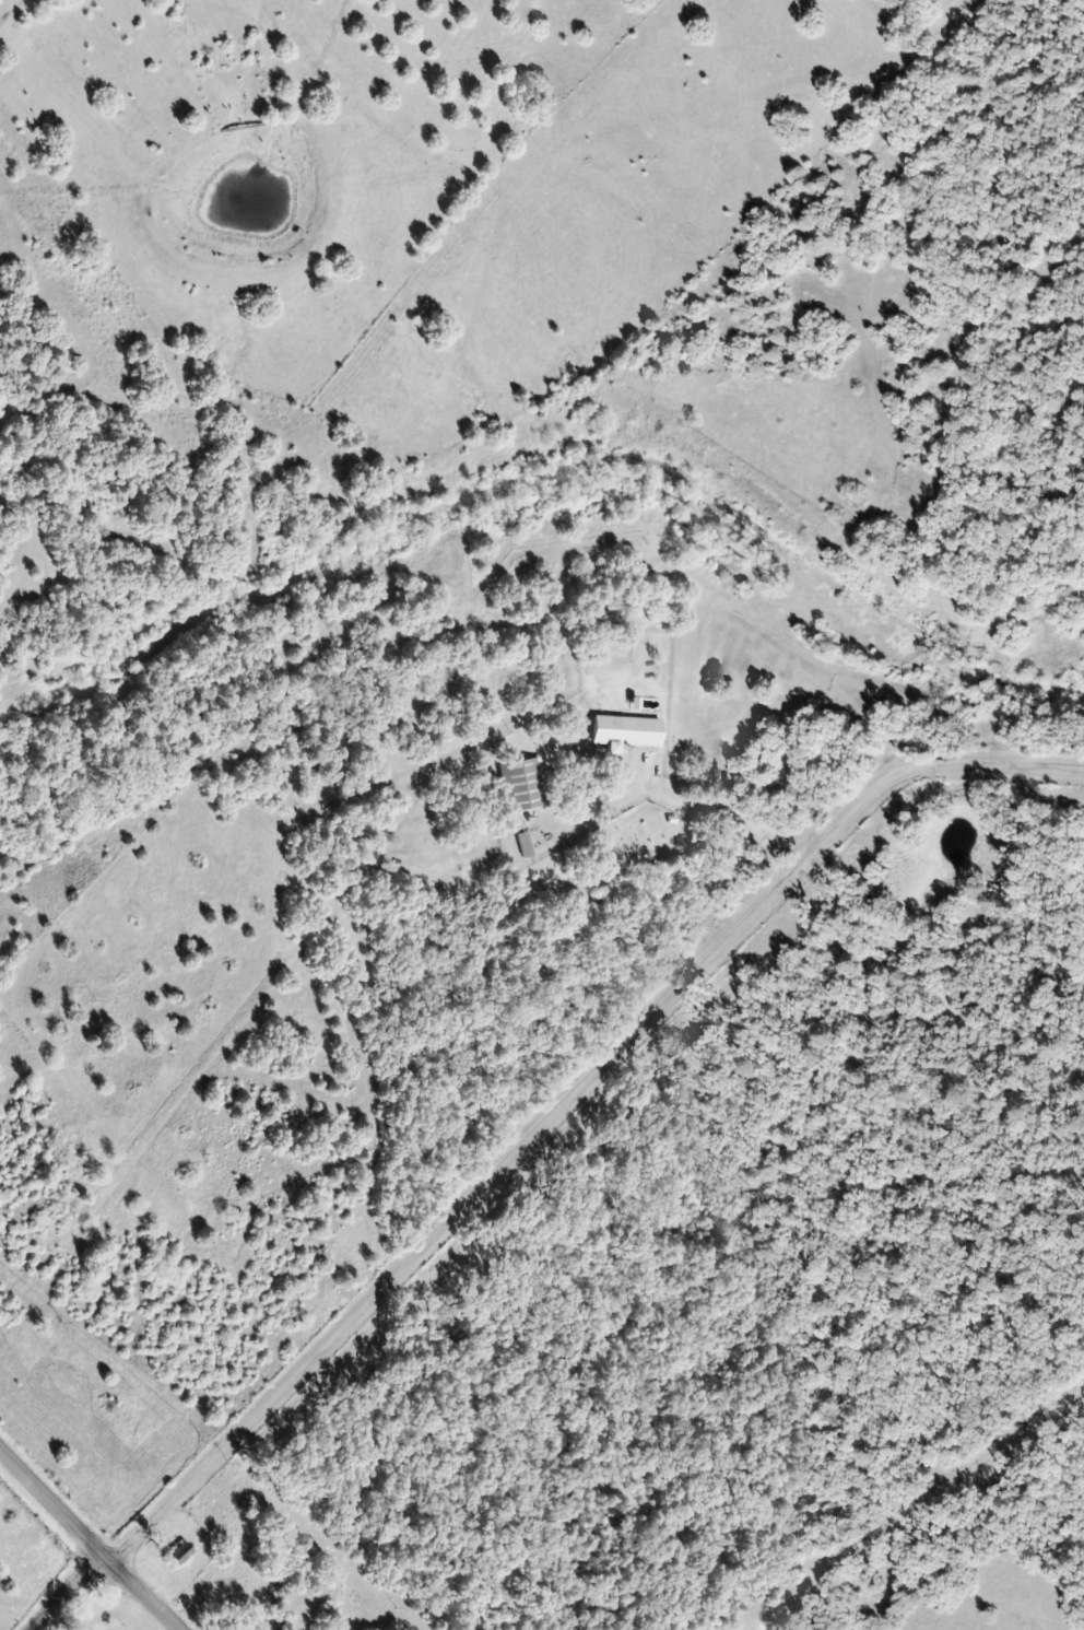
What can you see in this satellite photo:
road: (17, 141)
building: (623, 731)
building: (521, 784)
building: (523, 844)
road: (567, 1103)
road: (84, 1544)
building: (178, 1553)
road: (64, 1594)

